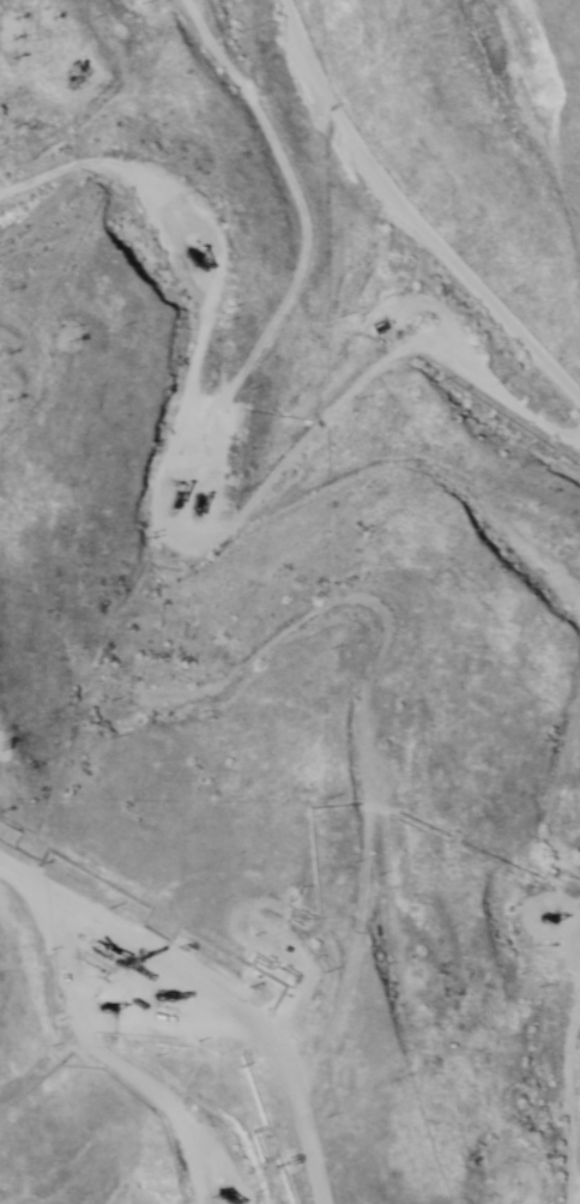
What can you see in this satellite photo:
road: (195, 17)
road: (0, 139)
road: (542, 140)
road: (320, 221)
road: (163, 469)
road: (367, 777)
road: (195, 985)
road: (141, 1052)
road: (502, 1090)

